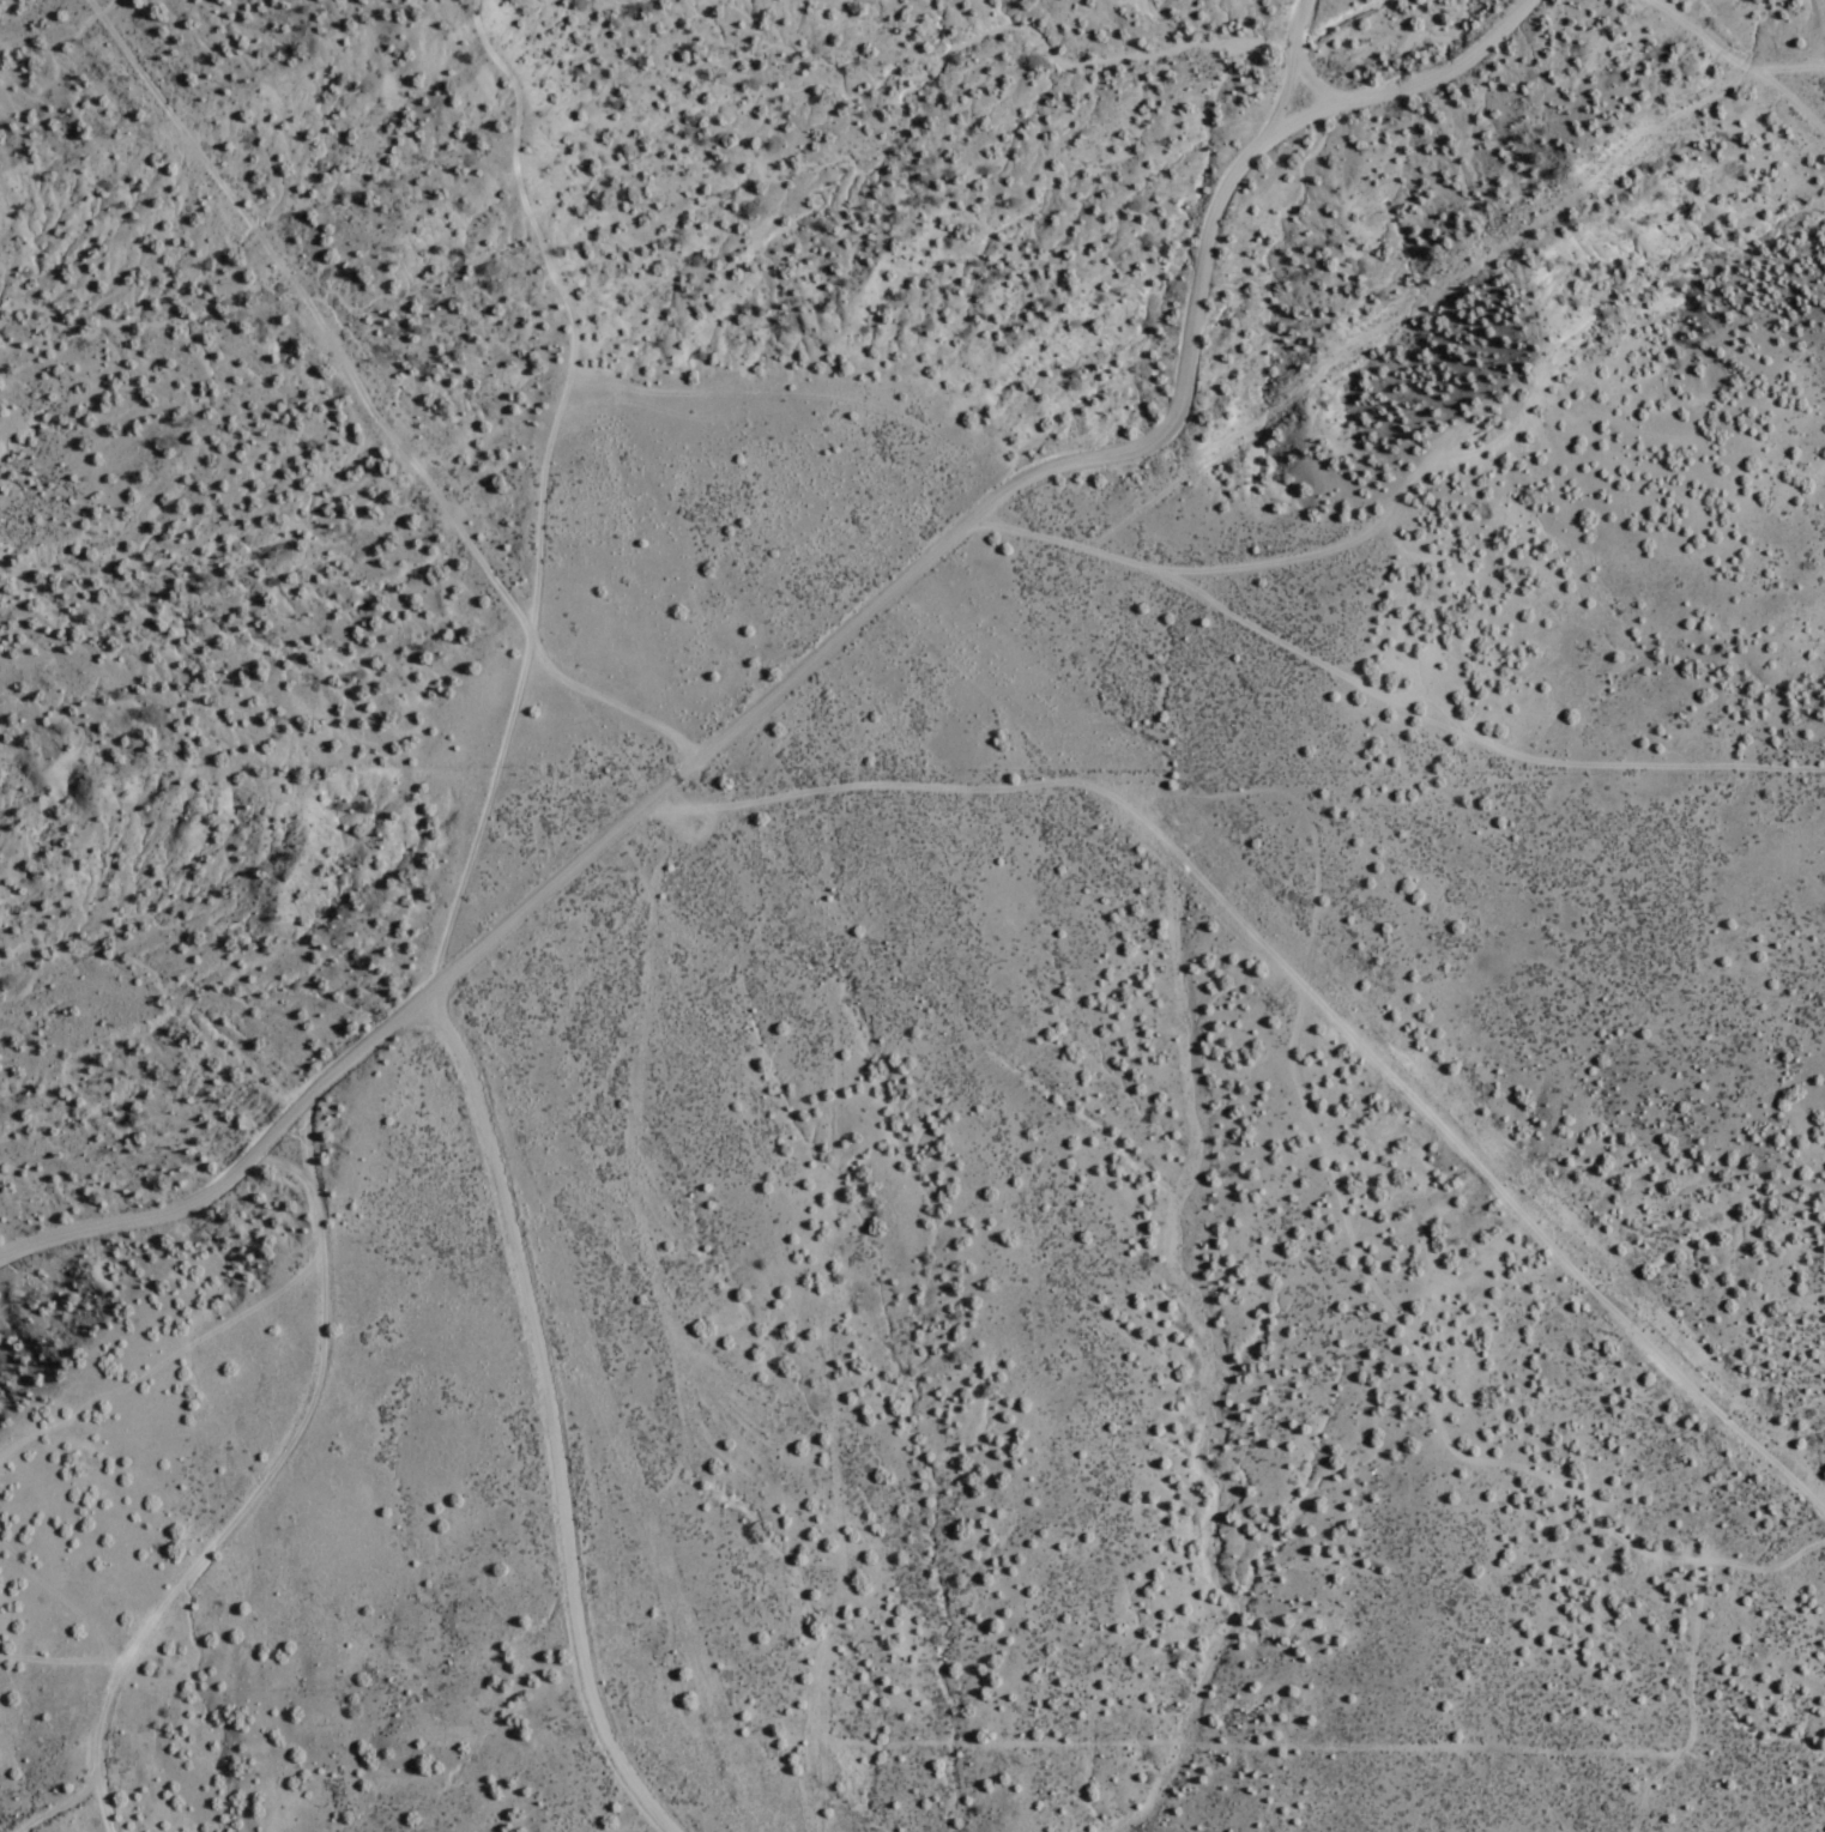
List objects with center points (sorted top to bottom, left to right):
road: (1703, 37)
road: (1287, 68)
road: (1793, 68)
road: (1309, 81)
road: (1794, 103)
road: (367, 407)
road: (1016, 484)
road: (538, 491)
road: (1289, 560)
road: (1467, 738)
road: (1303, 986)
road: (280, 1163)
road: (238, 1169)
road: (546, 1416)
road: (261, 1483)
road: (59, 1808)

